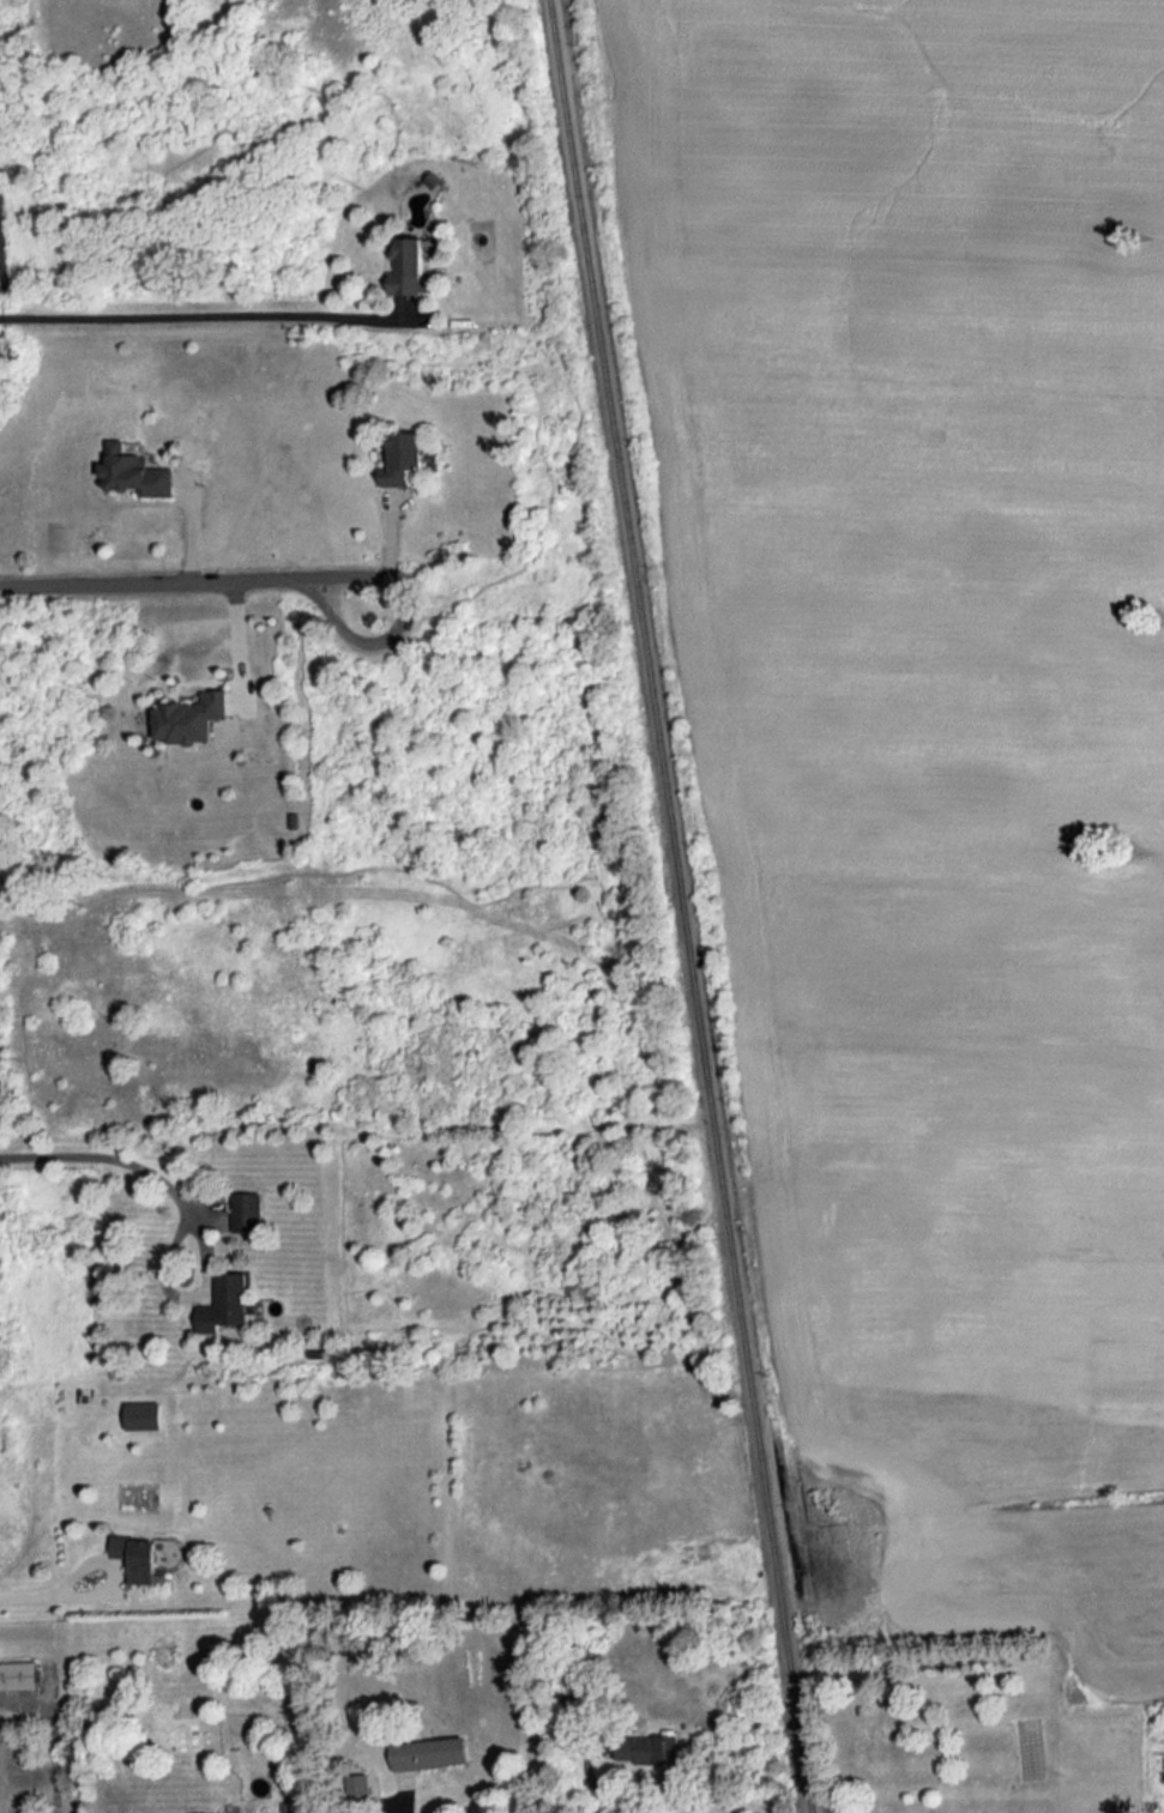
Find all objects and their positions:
crop: (897, 182)
building: (410, 266)
road: (408, 307)
road: (217, 313)
building: (405, 457)
building: (137, 471)
road: (207, 582)
building: (191, 717)
railway: (683, 906)
crop: (951, 945)
road: (109, 1159)
building: (247, 1210)
building: (225, 1301)
building: (144, 1414)
building: (137, 1555)
road: (43, 1599)
building: (19, 1674)
road: (55, 1733)
building: (650, 1747)
building: (432, 1752)
building: (360, 1785)
road: (601, 1788)
road: (414, 1811)
building: (209, 1812)

